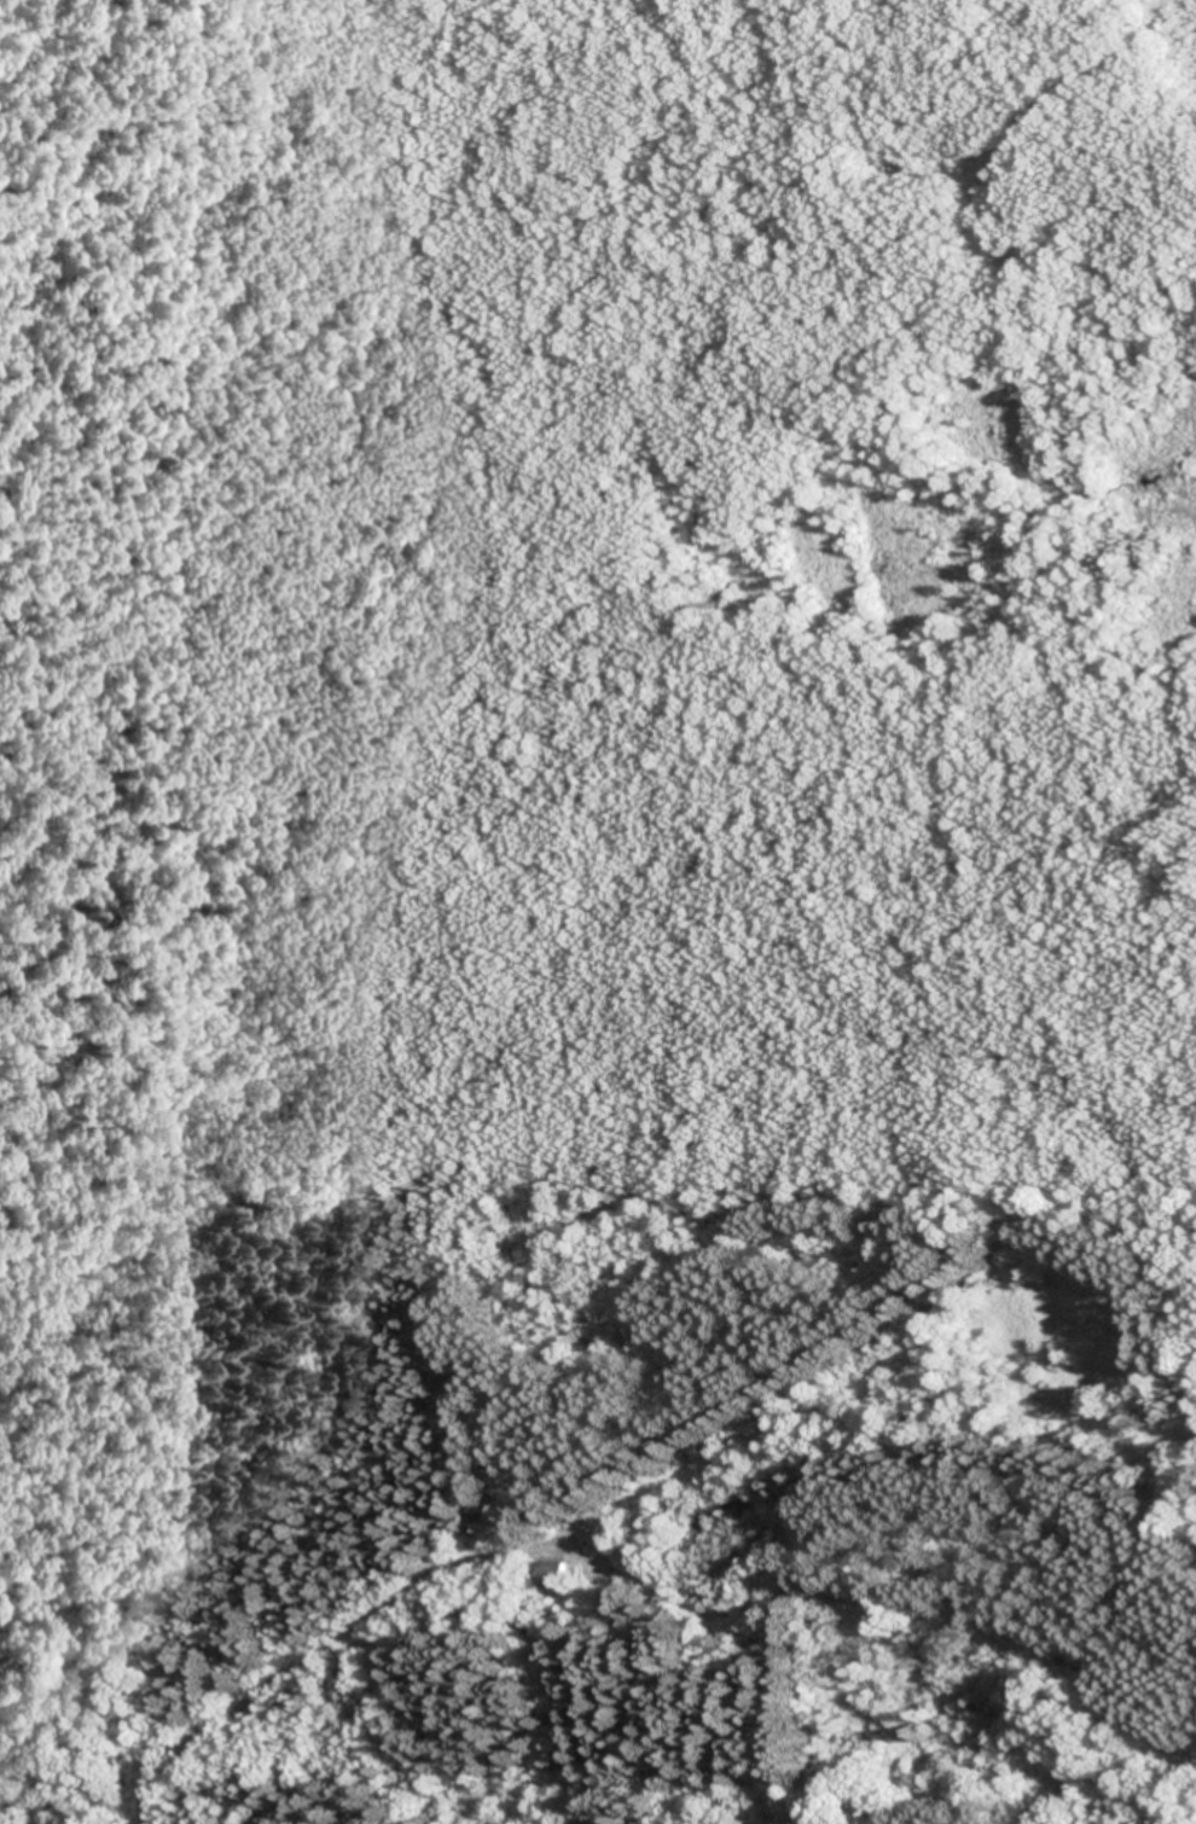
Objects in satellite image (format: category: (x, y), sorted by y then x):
building: (561, 1570)
road: (275, 1667)

